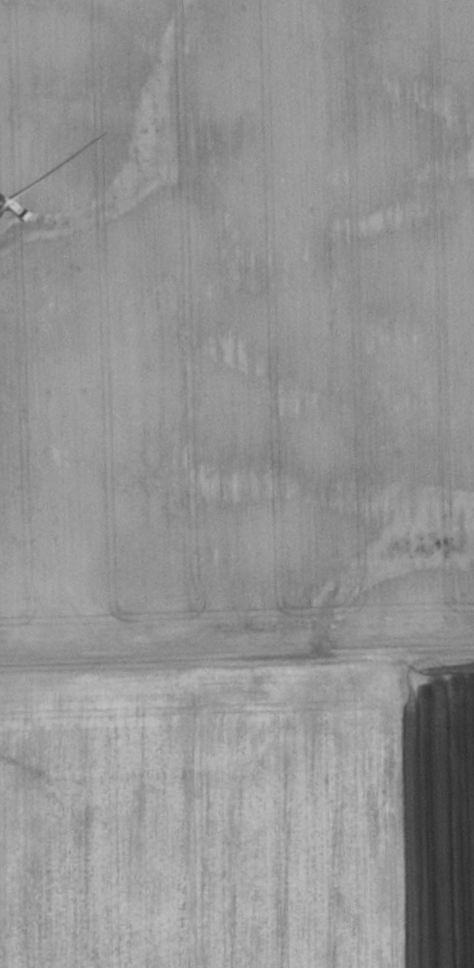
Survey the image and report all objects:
road: (237, 667)

